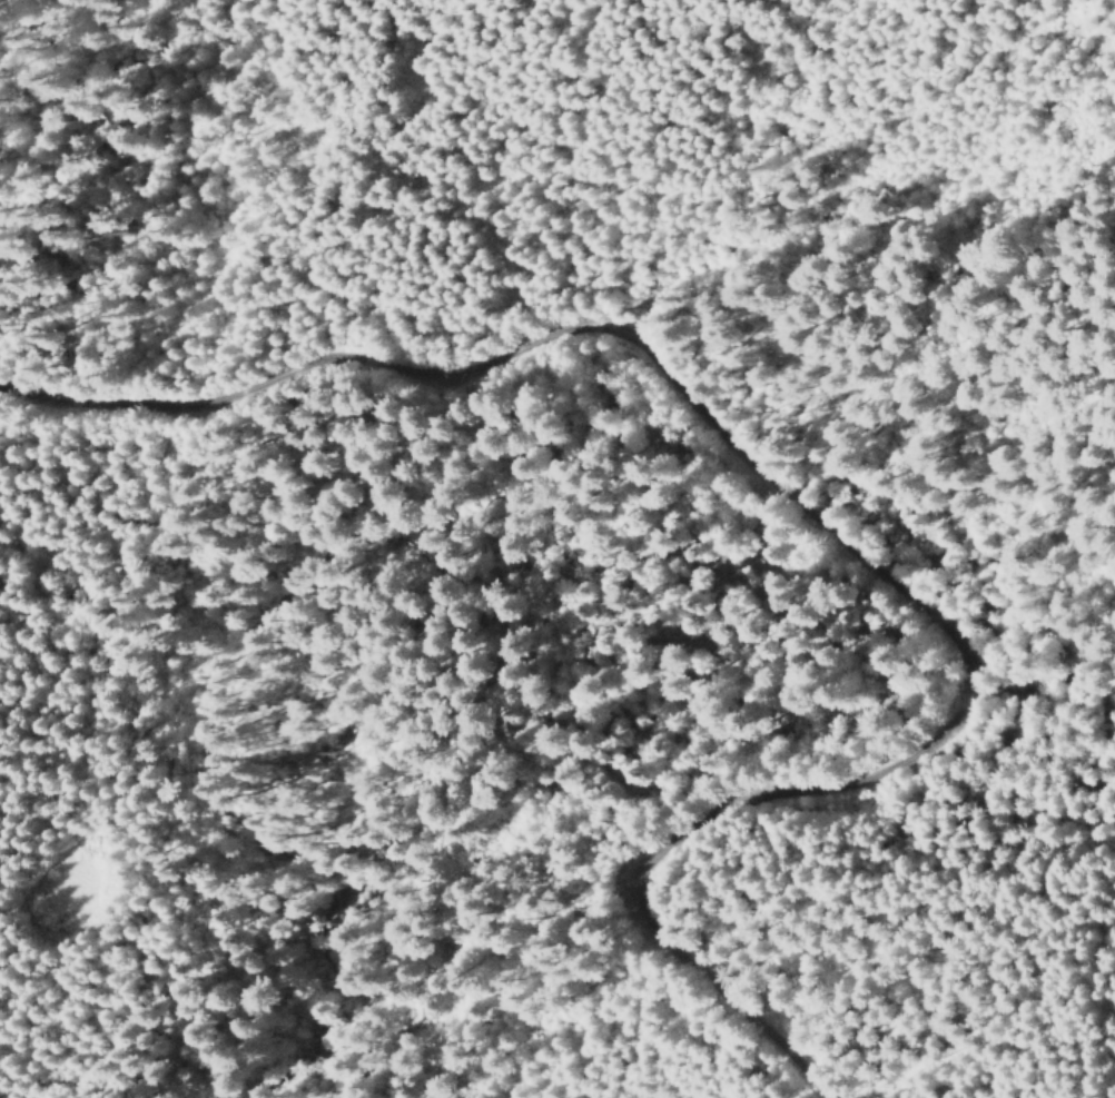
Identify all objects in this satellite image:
road: (827, 532)

